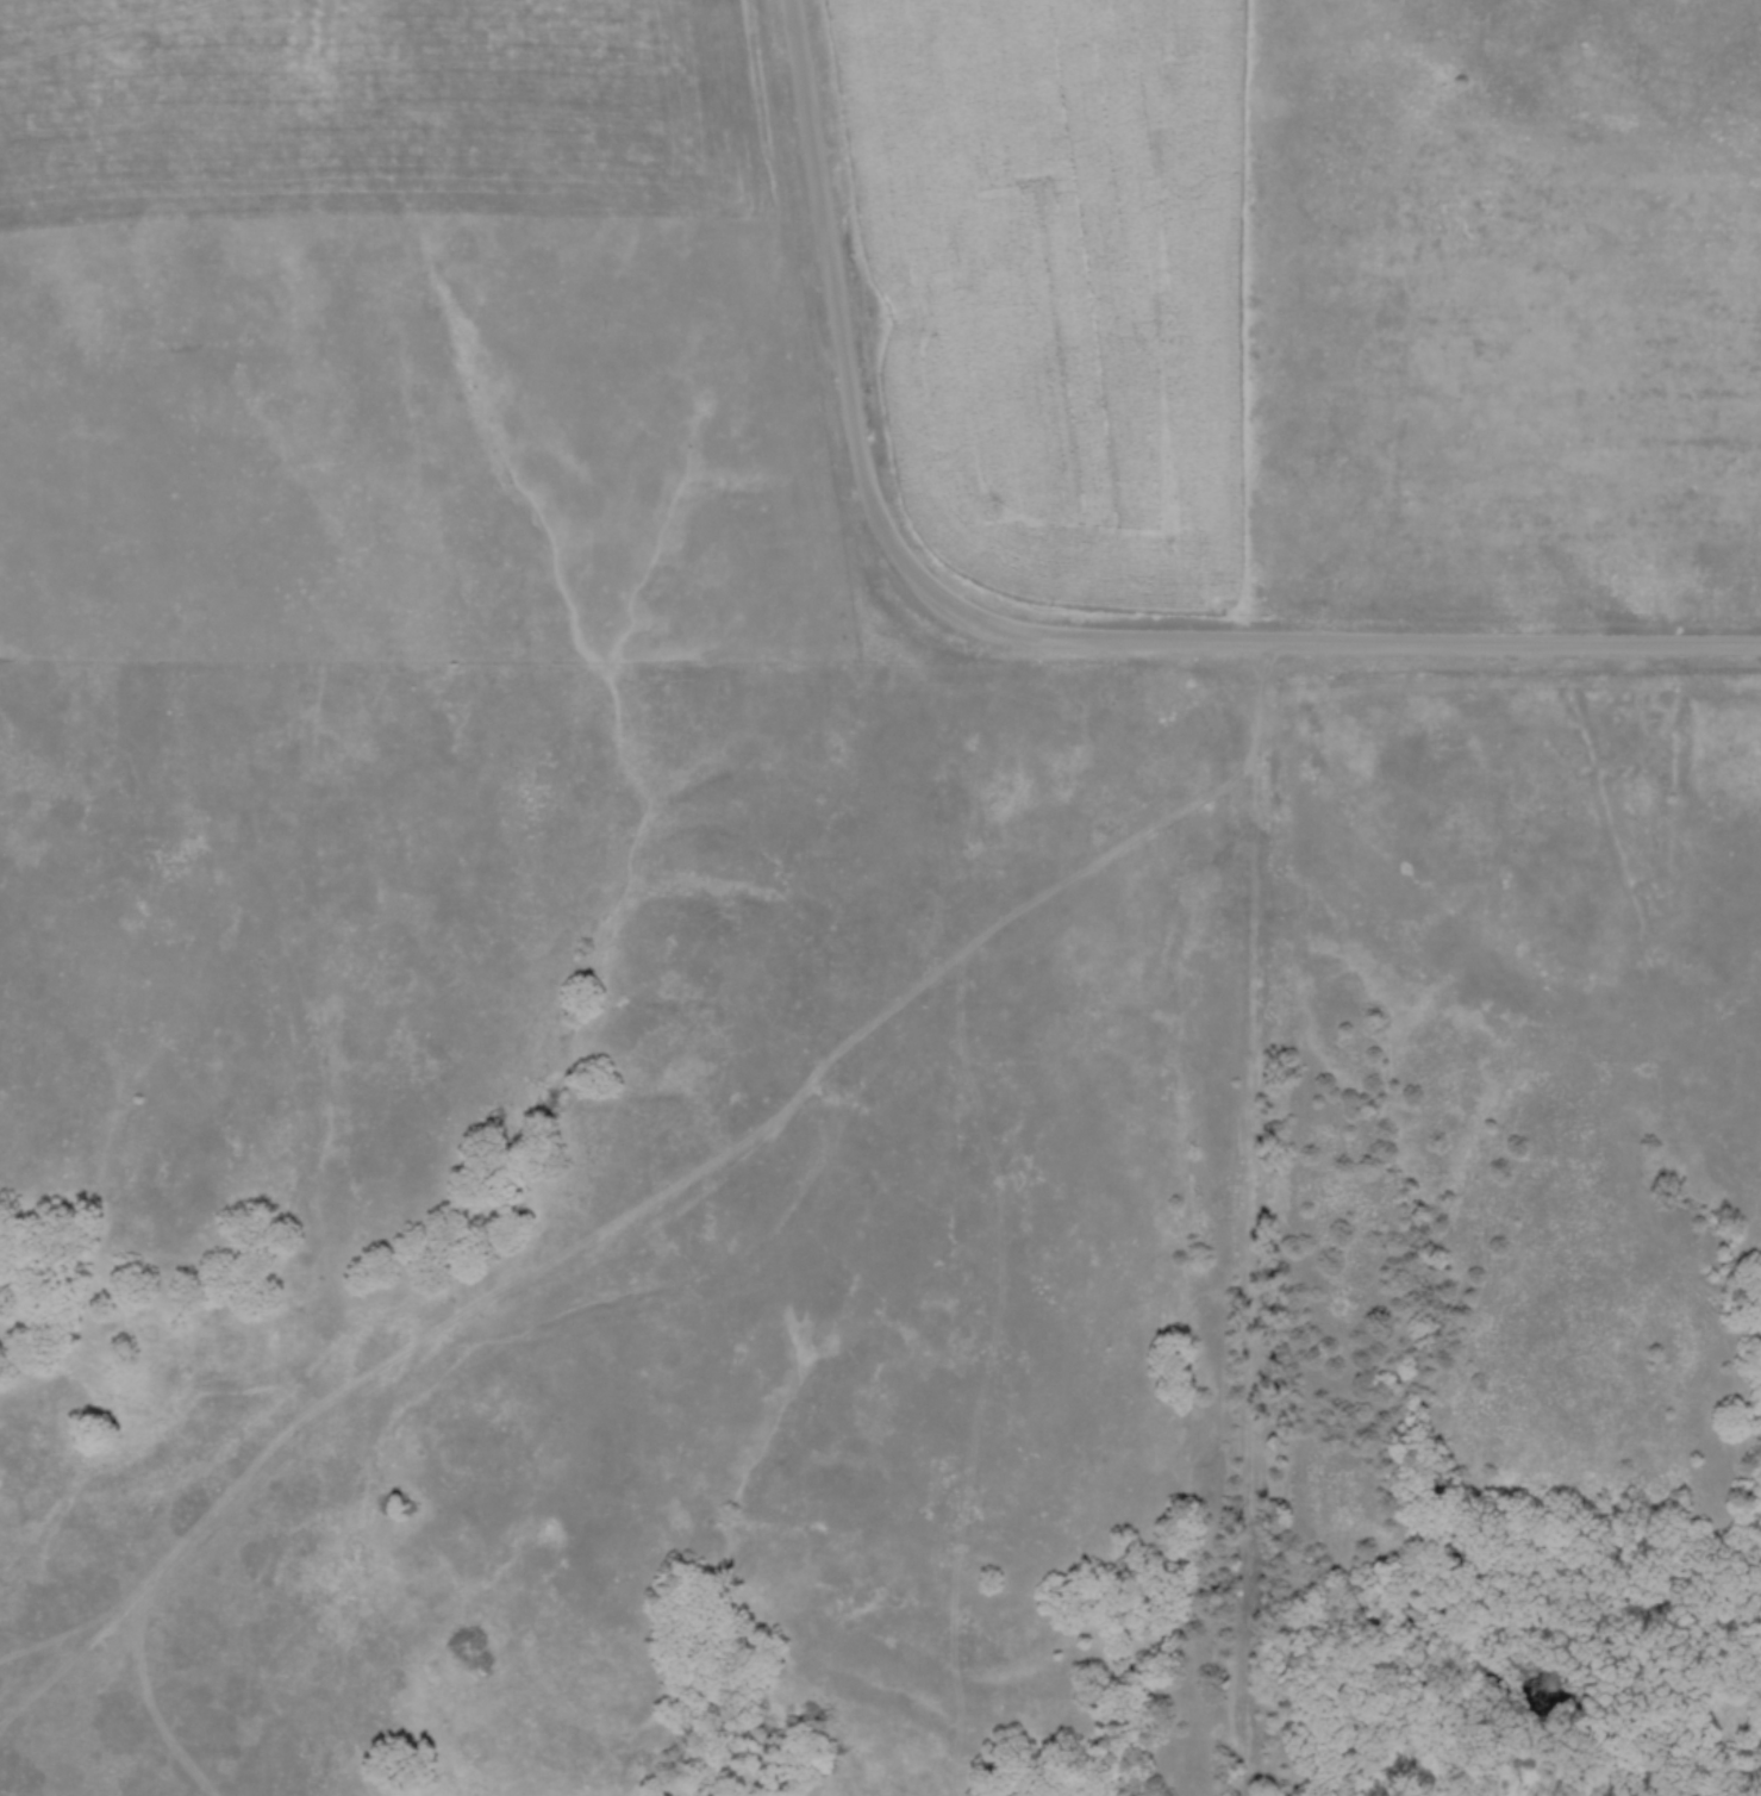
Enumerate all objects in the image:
road: (1025, 646)
road: (1257, 1223)

